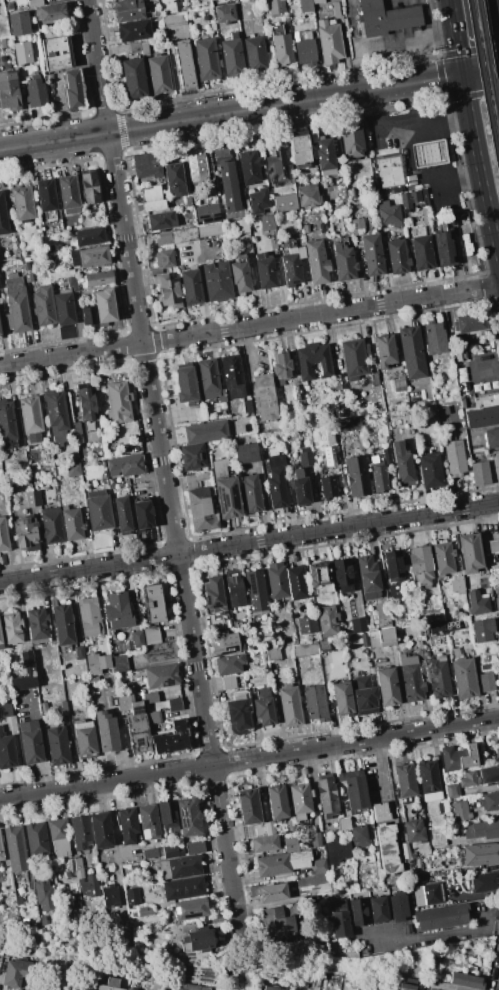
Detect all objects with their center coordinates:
building: (213, 0)
building: (317, 1)
building: (305, 6)
building: (168, 7)
building: (273, 7)
building: (129, 10)
road: (496, 11)
building: (50, 12)
building: (224, 13)
building: (386, 18)
road: (423, 18)
building: (173, 19)
road: (407, 19)
road: (389, 21)
building: (19, 24)
building: (133, 30)
building: (233, 35)
road: (454, 37)
building: (329, 42)
road: (381, 43)
building: (282, 49)
building: (305, 51)
building: (21, 53)
building: (56, 53)
building: (255, 54)
building: (231, 57)
building: (205, 58)
road: (414, 60)
railway: (487, 64)
building: (184, 65)
road: (479, 71)
building: (158, 74)
traffic signals: (460, 75)
building: (133, 78)
railway: (482, 86)
building: (73, 90)
building: (9, 91)
building: (35, 91)
road: (414, 108)
road: (444, 112)
road: (230, 113)
building: (350, 138)
road: (444, 141)
building: (299, 148)
building: (428, 153)
building: (324, 157)
building: (276, 163)
building: (147, 165)
building: (196, 165)
building: (249, 167)
road: (478, 168)
building: (389, 171)
road: (464, 171)
building: (174, 179)
building: (226, 179)
building: (89, 188)
building: (46, 194)
building: (68, 194)
building: (346, 194)
building: (308, 195)
building: (152, 199)
building: (412, 199)
building: (188, 201)
building: (258, 201)
building: (22, 202)
building: (284, 202)
building: (207, 213)
building: (388, 214)
building: (311, 215)
building: (3, 216)
building: (160, 220)
building: (266, 223)
building: (240, 226)
building: (357, 226)
building: (209, 230)
building: (183, 235)
building: (89, 236)
building: (163, 238)
building: (444, 247)
building: (47, 248)
building: (422, 253)
building: (372, 255)
building: (93, 256)
building: (396, 256)
building: (164, 258)
building: (316, 262)
building: (343, 262)
building: (292, 265)
building: (28, 267)
building: (264, 270)
building: (239, 274)
building: (97, 279)
building: (215, 281)
building: (71, 283)
building: (190, 286)
building: (168, 289)
building: (16, 305)
building: (43, 305)
building: (104, 306)
building: (63, 307)
building: (88, 315)
building: (470, 323)
road: (249, 325)
building: (0, 333)
building: (434, 339)
road: (247, 345)
building: (384, 351)
building: (411, 352)
building: (354, 357)
building: (312, 359)
road: (482, 365)
building: (281, 368)
parking lot: (477, 368)
building: (231, 376)
building: (208, 377)
building: (374, 379)
road: (148, 381)
building: (338, 382)
building: (184, 383)
building: (399, 383)
building: (441, 391)
building: (298, 392)
building: (264, 397)
building: (118, 402)
building: (86, 403)
building: (247, 407)
building: (341, 408)
building: (443, 410)
building: (483, 412)
road: (173, 413)
building: (56, 416)
building: (30, 417)
building: (344, 424)
building: (7, 425)
building: (247, 428)
building: (77, 432)
building: (206, 432)
building: (492, 438)
building: (330, 439)
building: (272, 451)
building: (246, 453)
building: (193, 456)
building: (305, 457)
building: (454, 458)
building: (275, 460)
building: (126, 465)
building: (399, 466)
building: (478, 468)
building: (430, 471)
building: (356, 476)
building: (195, 479)
building: (379, 479)
building: (300, 486)
building: (328, 486)
building: (276, 489)
building: (226, 490)
building: (252, 493)
building: (32, 498)
building: (98, 510)
building: (200, 510)
building: (122, 515)
building: (143, 515)
building: (71, 523)
building: (51, 526)
building: (3, 535)
building: (25, 535)
road: (249, 542)
building: (491, 546)
building: (469, 552)
building: (442, 558)
building: (394, 565)
building: (420, 565)
building: (342, 576)
building: (368, 576)
building: (319, 577)
building: (276, 580)
building: (296, 582)
building: (457, 585)
building: (234, 588)
building: (255, 591)
building: (213, 593)
building: (477, 603)
building: (153, 604)
building: (118, 610)
building: (497, 615)
building: (89, 616)
building: (421, 617)
building: (327, 620)
building: (216, 621)
building: (384, 621)
building: (37, 623)
building: (62, 624)
building: (451, 624)
building: (306, 625)
building: (358, 625)
building: (11, 628)
building: (437, 628)
building: (483, 630)
building: (151, 635)
building: (137, 638)
building: (381, 638)
building: (0, 639)
building: (364, 640)
building: (225, 643)
building: (271, 644)
building: (0, 647)
building: (304, 649)
building: (79, 652)
building: (272, 653)
building: (97, 663)
building: (119, 664)
building: (229, 664)
building: (485, 666)
building: (498, 672)
building: (25, 673)
building: (161, 676)
building: (438, 676)
building: (411, 678)
building: (464, 678)
building: (486, 681)
building: (228, 682)
building: (387, 686)
building: (364, 695)
building: (150, 697)
building: (342, 698)
building: (315, 702)
building: (174, 704)
building: (262, 705)
building: (289, 705)
building: (61, 709)
building: (237, 713)
building: (153, 717)
building: (137, 728)
building: (106, 731)
road: (41, 734)
road: (120, 735)
building: (84, 739)
building: (172, 739)
road: (355, 741)
building: (30, 742)
building: (56, 746)
building: (498, 750)
building: (6, 751)
building: (470, 757)
building: (449, 758)
road: (381, 766)
building: (489, 775)
building: (405, 779)
building: (467, 779)
building: (428, 780)
road: (106, 782)
building: (452, 791)
building: (355, 792)
building: (327, 793)
building: (299, 800)
building: (490, 800)
building: (276, 801)
building: (443, 806)
building: (248, 807)
building: (380, 811)
building: (459, 812)
building: (399, 814)
building: (168, 815)
building: (188, 818)
building: (446, 819)
building: (148, 821)
building: (343, 822)
building: (127, 825)
building: (269, 828)
building: (482, 829)
building: (100, 830)
building: (414, 831)
building: (80, 832)
building: (248, 832)
building: (58, 836)
building: (360, 836)
building: (438, 838)
building: (36, 839)
building: (315, 839)
building: (264, 843)
building: (195, 847)
road: (225, 847)
building: (388, 848)
building: (16, 850)
building: (337, 850)
building: (1, 851)
building: (168, 851)
building: (149, 853)
building: (480, 853)
building: (173, 854)
building: (281, 863)
building: (76, 866)
building: (318, 866)
building: (180, 867)
building: (417, 878)
building: (485, 881)
building: (300, 882)
building: (90, 886)
building: (183, 888)
building: (323, 890)
building: (273, 892)
building: (42, 894)
building: (426, 894)
building: (110, 896)
building: (132, 901)
building: (398, 906)
building: (190, 909)
building: (377, 909)
building: (145, 911)
building: (357, 912)
building: (441, 917)
building: (277, 921)
building: (339, 924)
road: (429, 936)
building: (200, 940)
building: (14, 973)
building: (301, 980)
building: (466, 980)
building: (156, 983)
building: (109, 984)
building: (408, 984)
building: (187, 986)
building: (270, 988)
building: (126, 989)
building: (129, 989)

